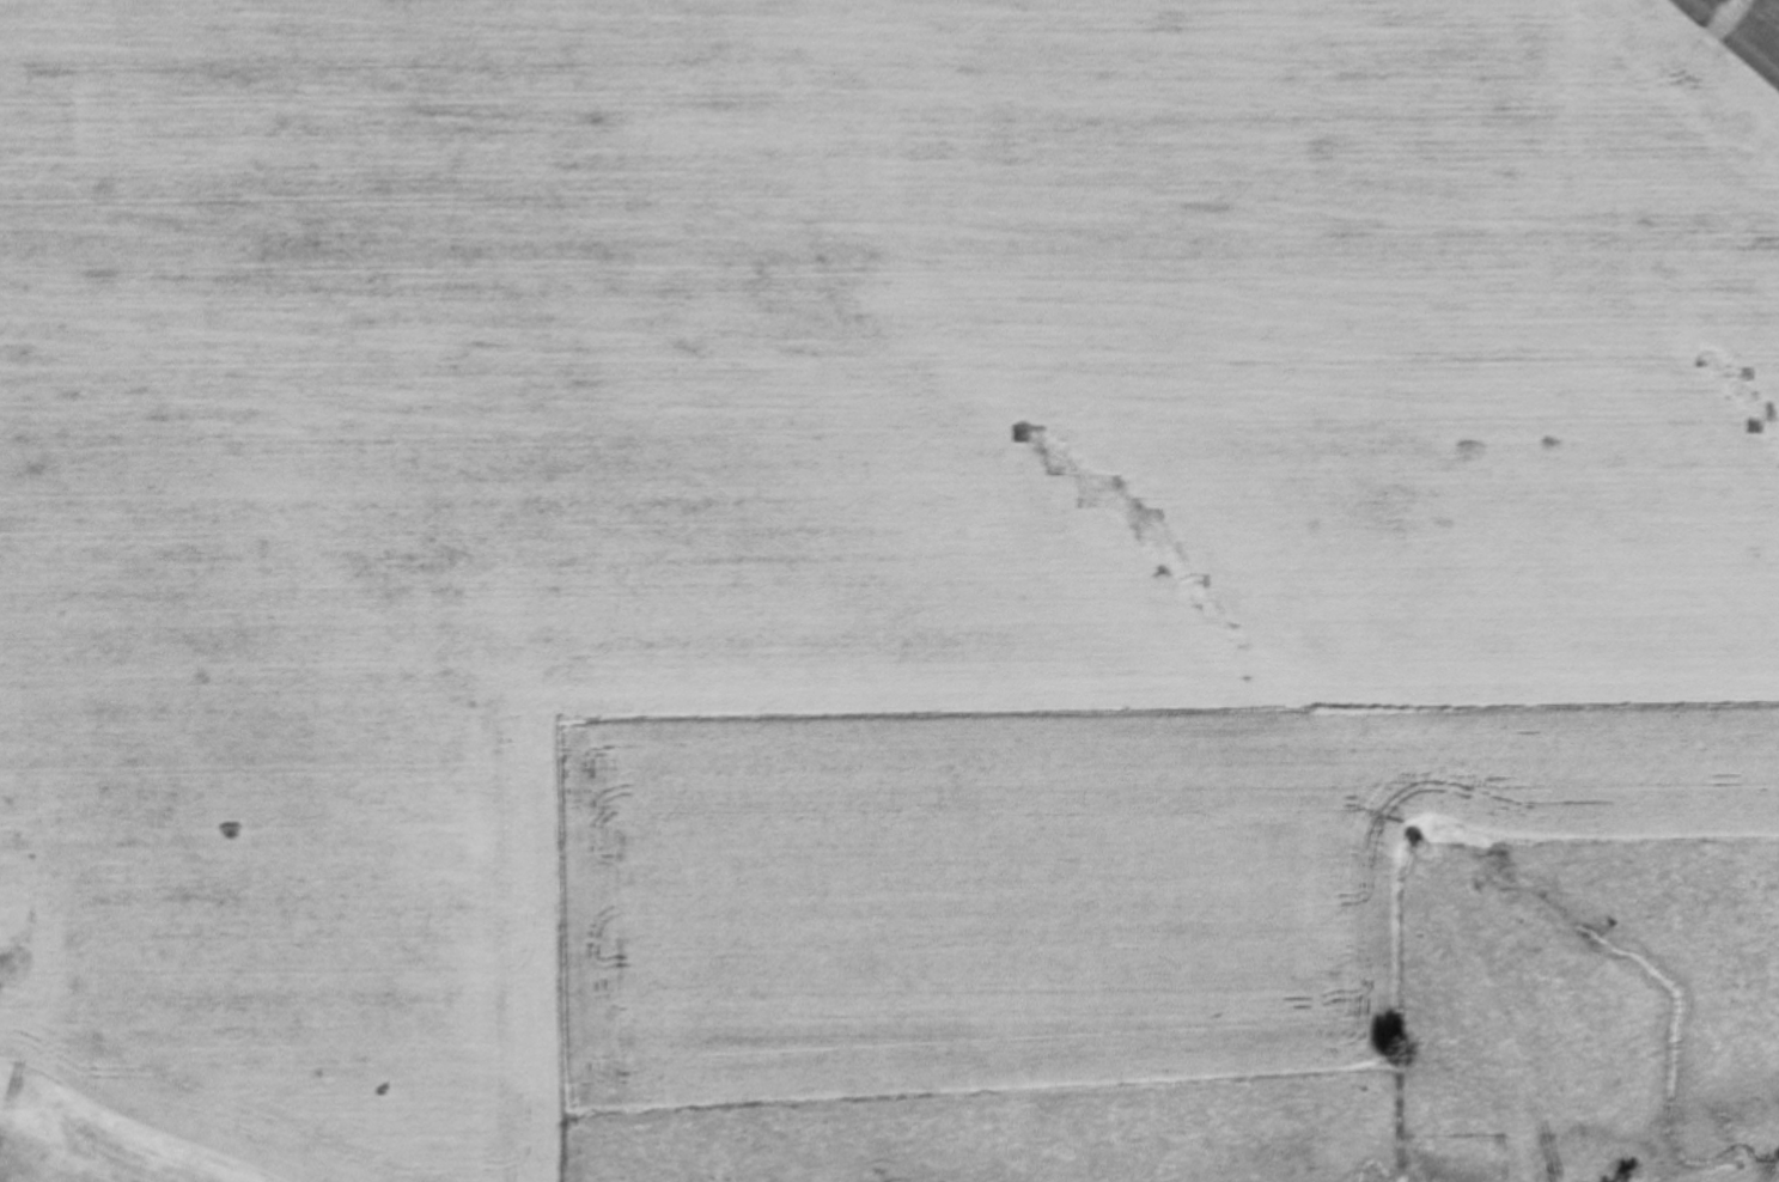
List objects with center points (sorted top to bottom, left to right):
building: (10, 842)

